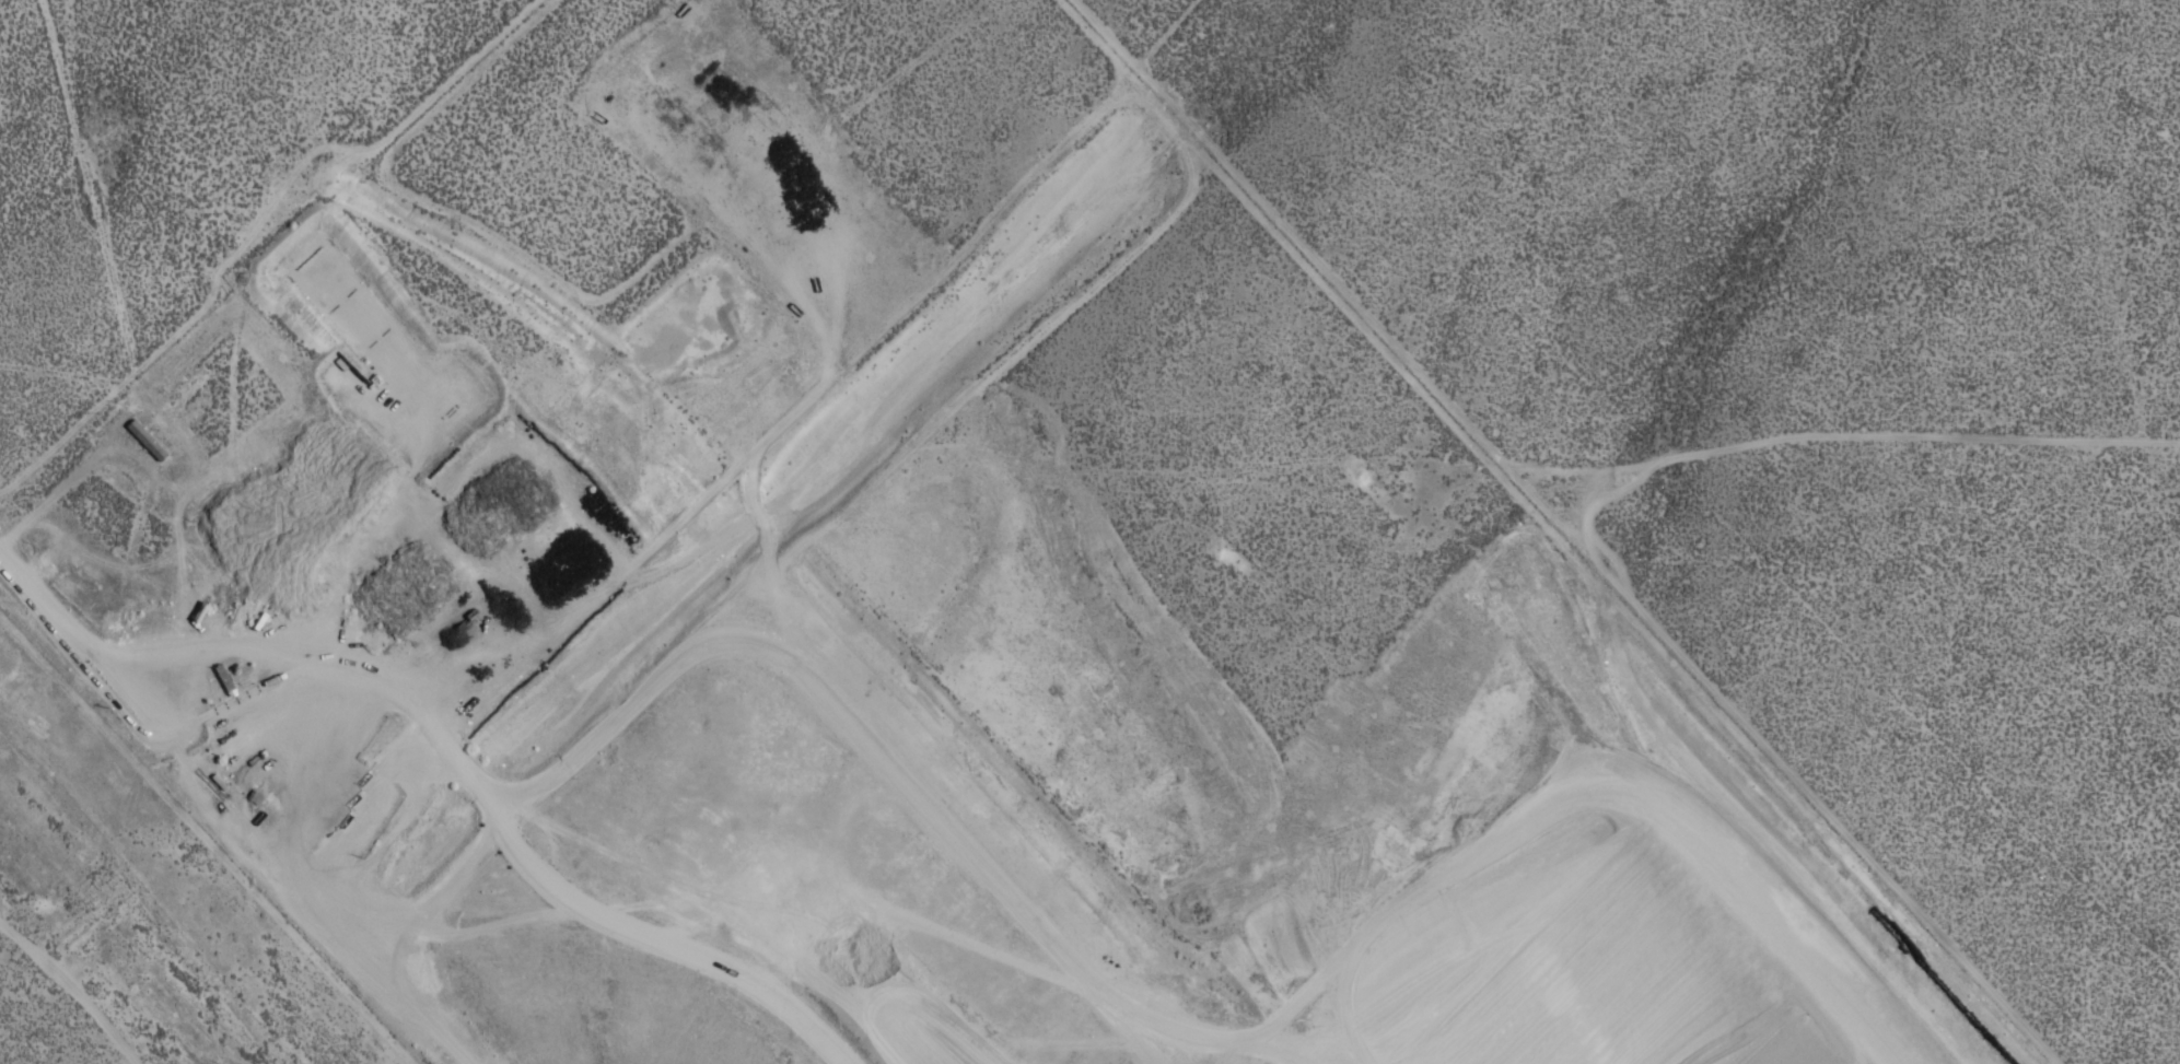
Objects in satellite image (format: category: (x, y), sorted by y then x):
building: (144, 440)
road: (79, 647)
landfill: (1114, 735)

